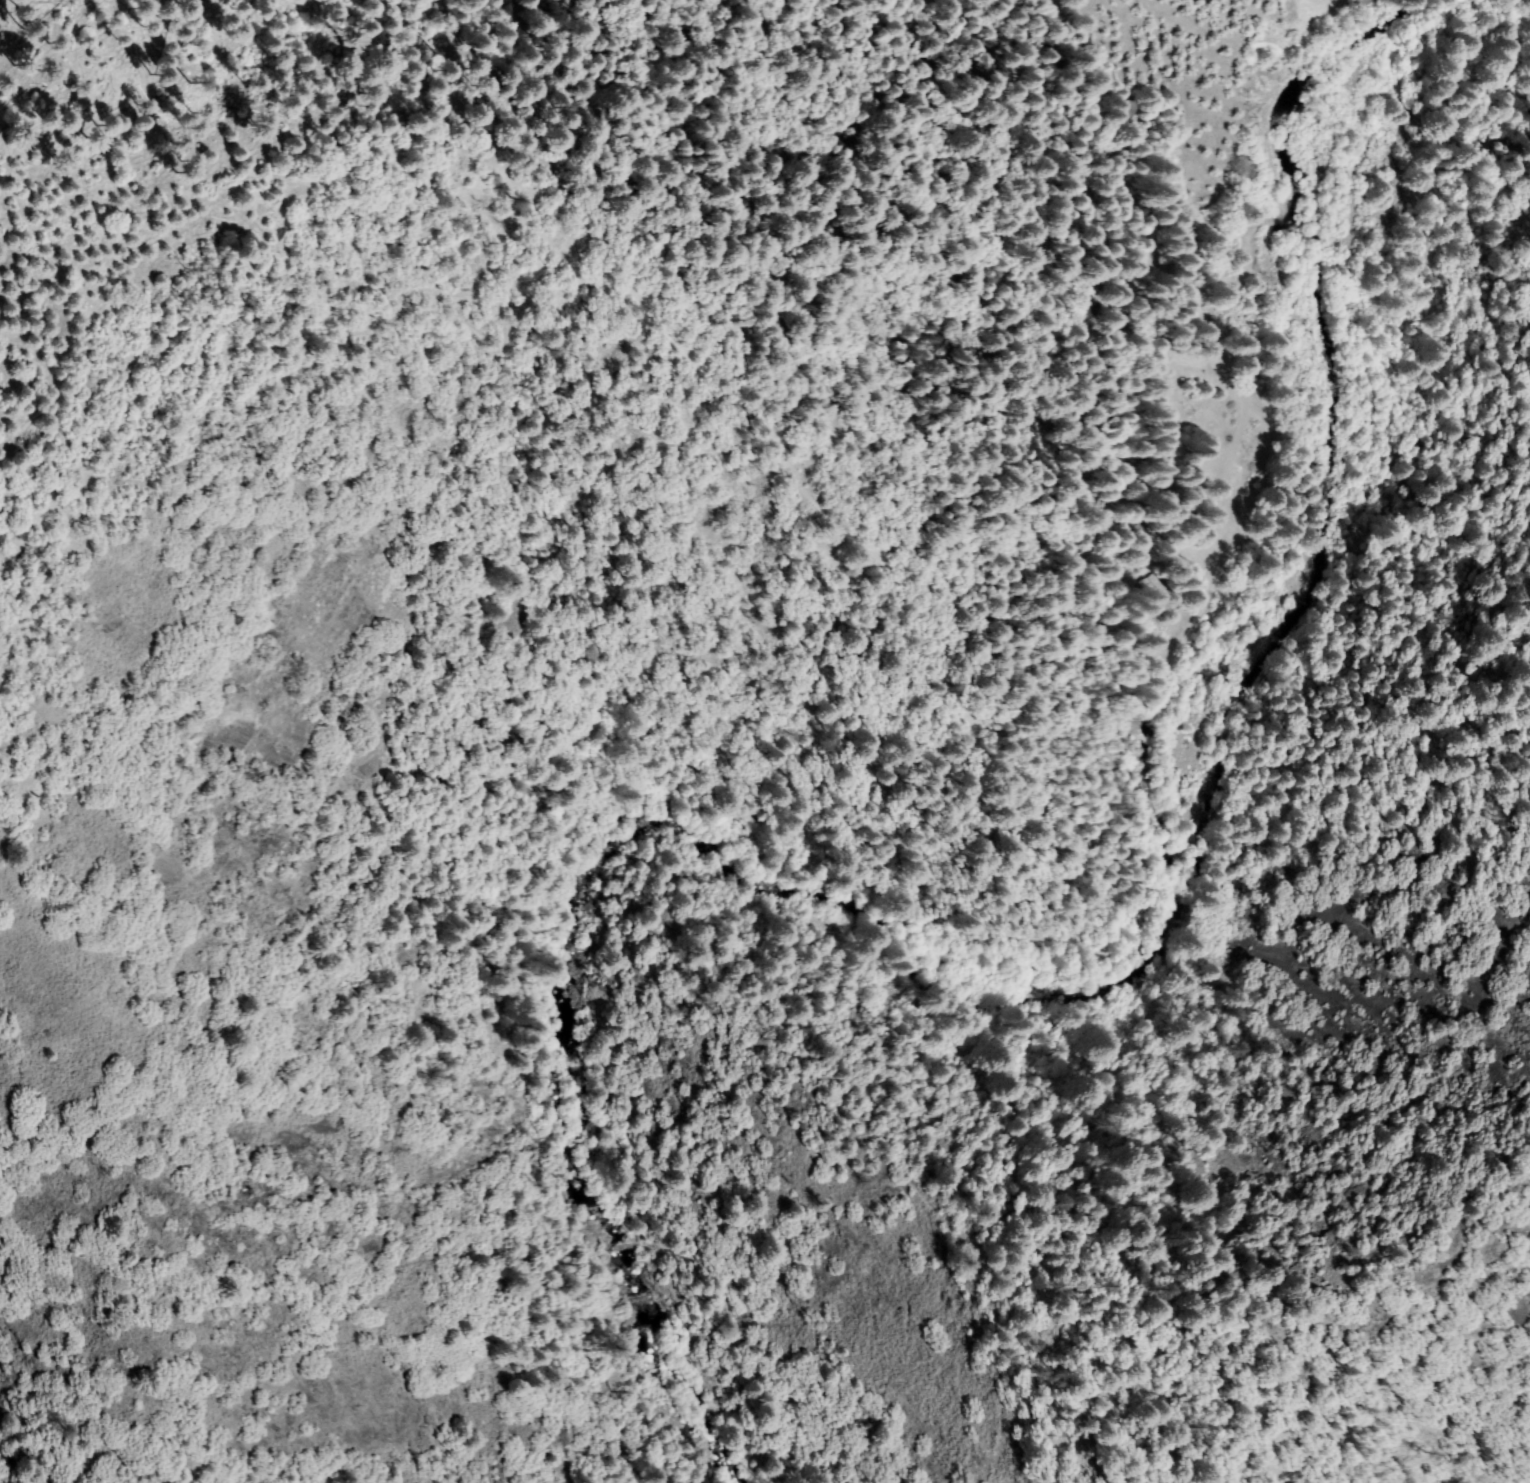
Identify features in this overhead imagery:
road: (1225, 49)
building: (1129, 112)
building: (1120, 280)
building: (1122, 314)
road: (1102, 450)
building: (1121, 522)
building: (1148, 530)
building: (1173, 577)
building: (1160, 595)
road: (1117, 597)
river: (1018, 934)

